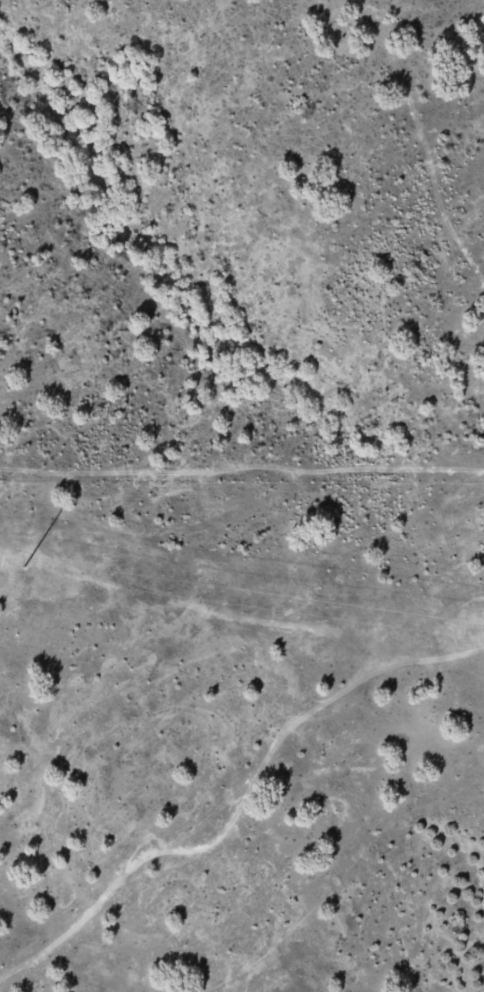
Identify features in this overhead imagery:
power tower: (14, 566)
power tower: (476, 633)
road: (245, 795)

